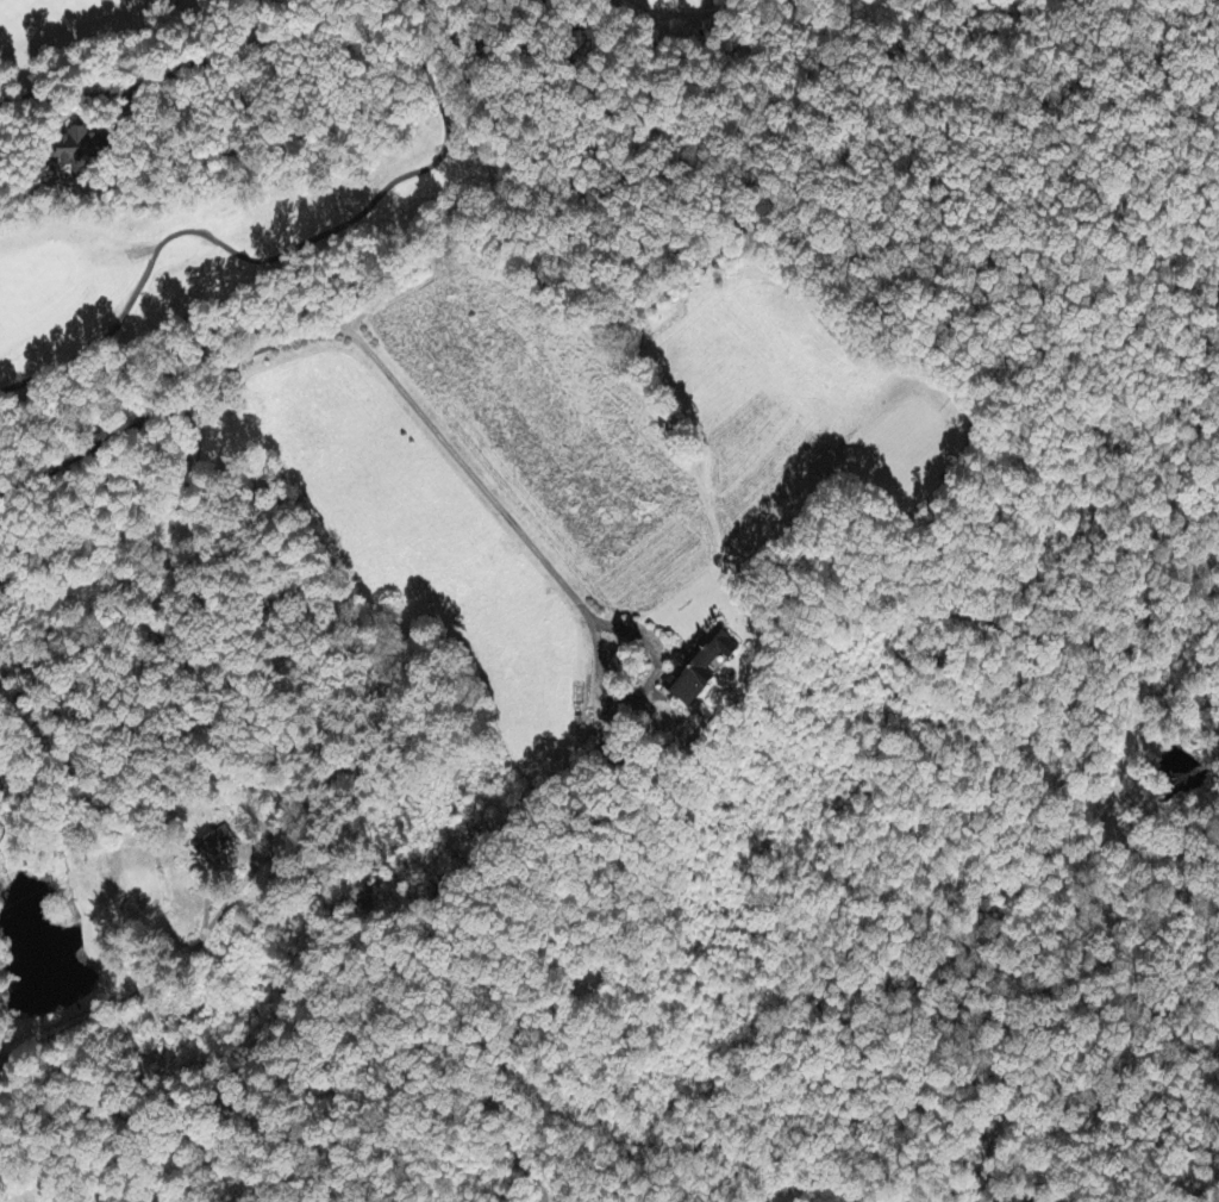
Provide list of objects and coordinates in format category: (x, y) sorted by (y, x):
park: (105, 25)
road: (112, 96)
building: (81, 154)
park: (288, 223)
building: (704, 668)
building: (217, 845)

